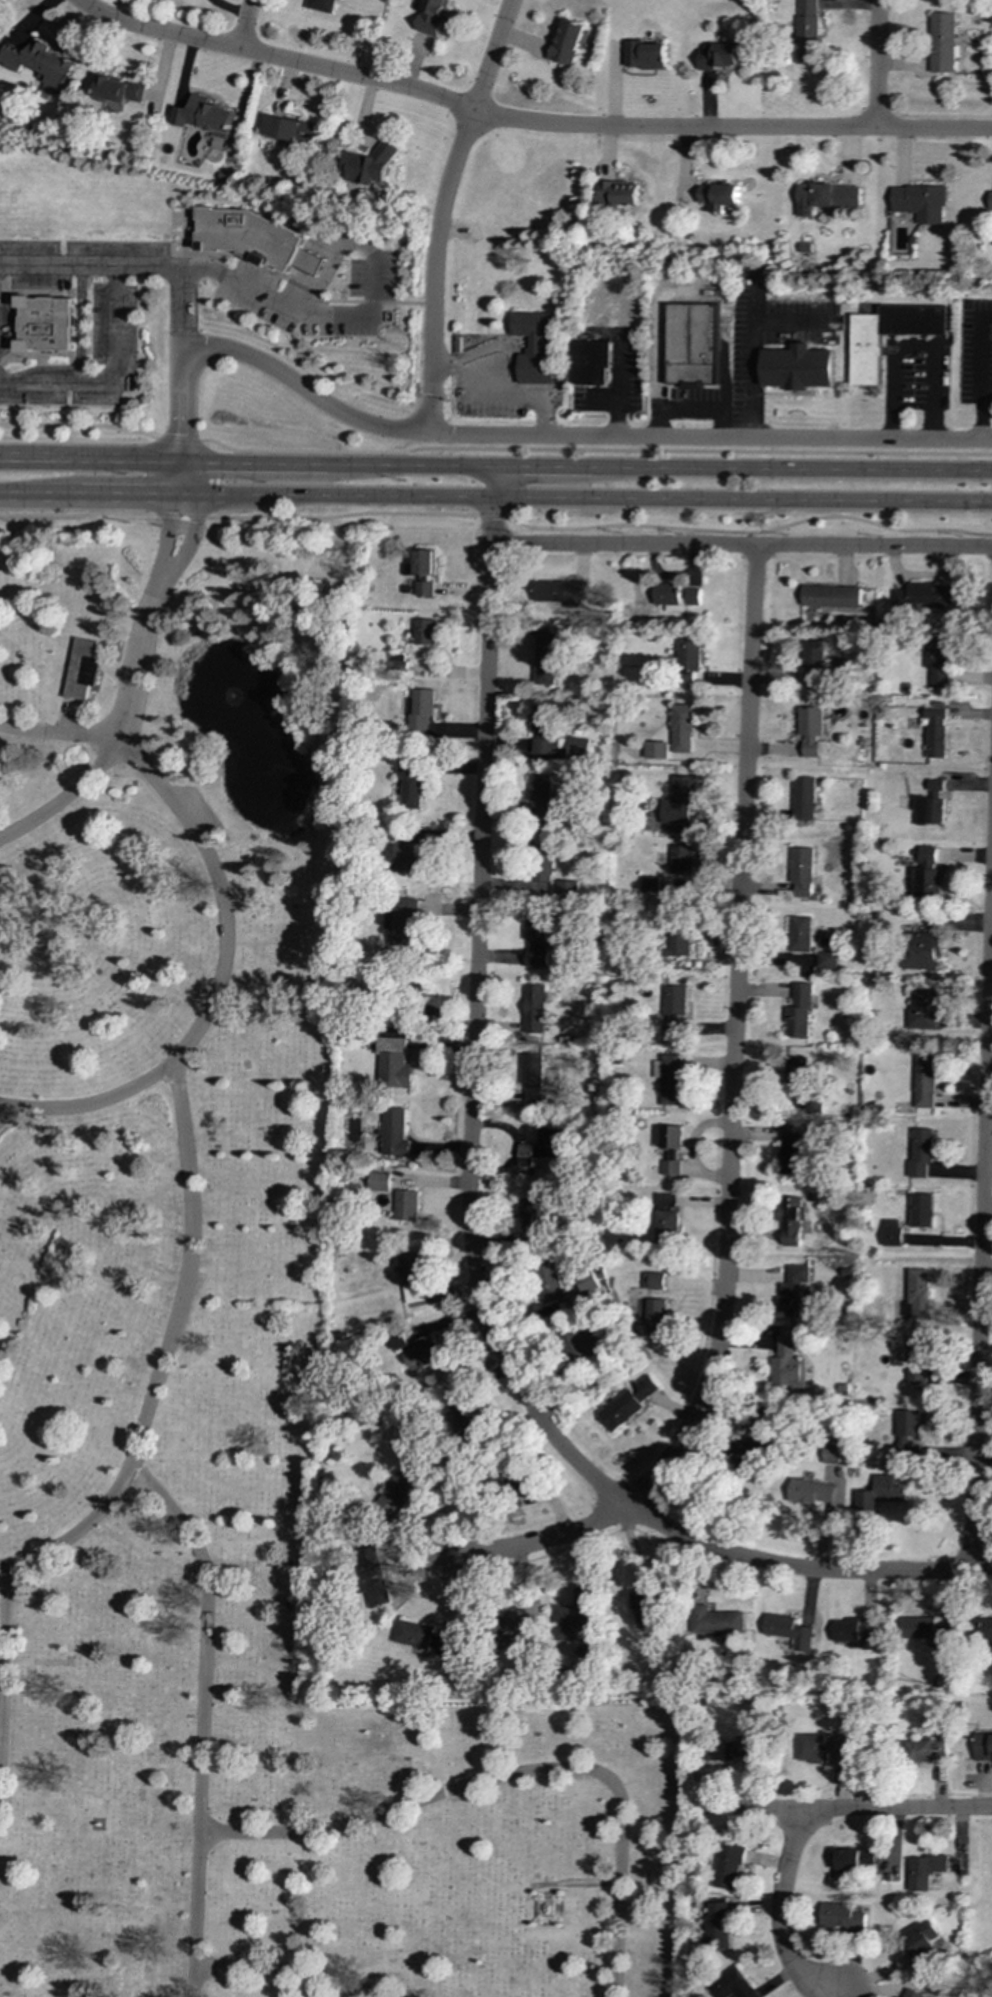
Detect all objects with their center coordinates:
building: (322, 5)
building: (0, 8)
building: (431, 17)
road: (245, 25)
building: (806, 31)
building: (567, 41)
building: (941, 42)
building: (645, 55)
building: (719, 56)
road: (274, 58)
building: (39, 62)
road: (876, 63)
building: (120, 90)
building: (207, 117)
building: (290, 129)
road: (731, 129)
building: (367, 166)
building: (617, 194)
building: (718, 196)
building: (825, 197)
building: (919, 202)
building: (990, 202)
road: (440, 211)
building: (249, 236)
building: (308, 261)
road: (129, 266)
road: (2, 282)
road: (300, 286)
road: (33, 291)
road: (754, 295)
road: (353, 316)
road: (16, 323)
building: (45, 324)
building: (864, 341)
road: (753, 342)
building: (691, 345)
building: (534, 346)
road: (911, 347)
road: (79, 350)
road: (36, 355)
building: (589, 362)
road: (1, 364)
building: (797, 367)
road: (979, 372)
road: (109, 376)
road: (615, 385)
road: (302, 389)
road: (491, 390)
road: (180, 393)
road: (600, 402)
road: (688, 411)
road: (656, 424)
road: (719, 424)
road: (79, 426)
road: (707, 437)
road: (167, 440)
road: (188, 441)
road: (179, 449)
road: (593, 450)
road: (89, 456)
road: (251, 460)
road: (407, 464)
road: (539, 466)
road: (790, 467)
road: (490, 482)
road: (39, 497)
road: (128, 498)
road: (584, 498)
road: (499, 512)
road: (167, 518)
road: (193, 522)
road: (747, 538)
road: (741, 543)
building: (421, 563)
building: (423, 588)
building: (560, 592)
building: (924, 595)
building: (676, 596)
building: (830, 596)
building: (424, 632)
building: (544, 659)
building: (688, 661)
building: (937, 661)
building: (814, 663)
building: (81, 668)
road: (121, 716)
building: (681, 728)
building: (543, 729)
building: (810, 729)
building: (935, 731)
building: (576, 747)
building: (655, 750)
building: (409, 783)
road: (62, 796)
building: (539, 797)
building: (803, 798)
building: (679, 800)
building: (929, 804)
building: (405, 853)
building: (925, 855)
building: (681, 857)
building: (542, 862)
building: (801, 872)
building: (928, 883)
building: (648, 884)
building: (566, 889)
building: (403, 920)
building: (800, 934)
building: (678, 939)
building: (534, 940)
building: (826, 959)
building: (532, 1008)
building: (922, 1009)
building: (673, 1010)
building: (798, 1011)
road: (473, 1027)
road: (735, 1038)
building: (393, 1063)
building: (796, 1072)
building: (531, 1078)
building: (667, 1078)
building: (923, 1082)
road: (1, 1102)
road: (96, 1102)
building: (394, 1133)
building: (670, 1137)
building: (540, 1146)
building: (792, 1148)
building: (920, 1151)
building: (670, 1164)
building: (378, 1181)
building: (404, 1206)
building: (920, 1210)
building: (666, 1218)
building: (790, 1220)
building: (532, 1221)
building: (890, 1233)
road: (981, 1233)
building: (410, 1269)
building: (653, 1281)
building: (548, 1283)
building: (790, 1292)
building: (916, 1294)
building: (656, 1316)
building: (590, 1340)
building: (420, 1354)
road: (165, 1355)
building: (914, 1359)
park: (228, 1362)
building: (786, 1364)
building: (627, 1403)
building: (464, 1418)
building: (906, 1429)
building: (754, 1442)
building: (830, 1454)
building: (810, 1491)
building: (395, 1493)
building: (876, 1496)
road: (74, 1531)
road: (543, 1542)
road: (801, 1570)
building: (371, 1576)
building: (644, 1608)
building: (576, 1612)
building: (715, 1621)
building: (514, 1627)
building: (925, 1630)
building: (984, 1630)
building: (787, 1631)
building: (852, 1634)
building: (423, 1639)
road: (4, 1641)
building: (983, 1746)
building: (820, 1749)
building: (735, 1750)
road: (505, 1779)
road: (755, 1808)
road: (895, 1808)
building: (854, 1857)
building: (728, 1867)
building: (924, 1871)
park: (980, 1904)
road: (781, 1914)
building: (844, 1915)
building: (717, 1926)
building: (921, 1941)
road: (291, 1976)
building: (733, 1985)
building: (913, 1993)

